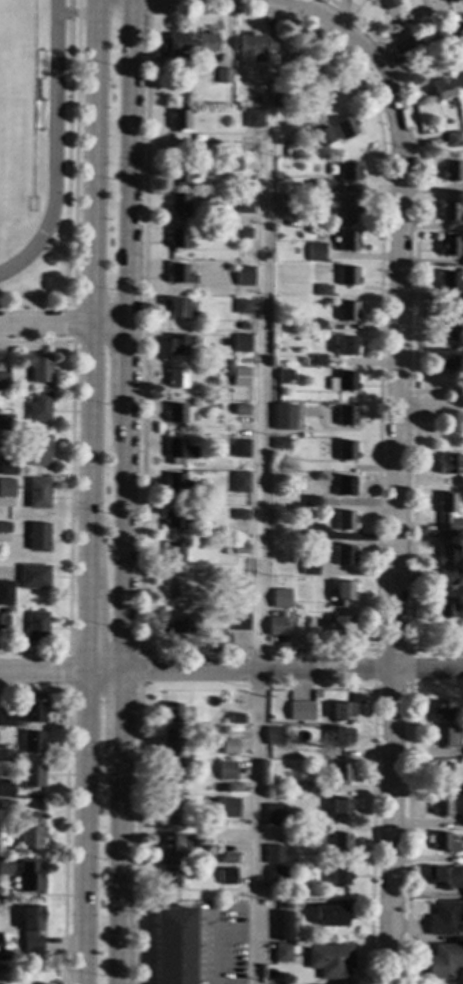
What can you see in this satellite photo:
road: (147, 4)
building: (387, 4)
road: (66, 12)
road: (389, 35)
building: (206, 42)
building: (171, 44)
building: (253, 46)
road: (336, 53)
road: (387, 56)
road: (366, 57)
building: (300, 67)
building: (223, 75)
building: (443, 89)
building: (261, 99)
building: (274, 100)
park: (15, 112)
building: (258, 118)
building: (179, 120)
building: (345, 127)
building: (323, 136)
building: (453, 139)
track: (52, 145)
road: (129, 162)
building: (232, 165)
building: (451, 170)
building: (348, 172)
building: (178, 173)
building: (322, 186)
road: (73, 187)
building: (289, 199)
building: (243, 203)
building: (178, 204)
building: (349, 205)
building: (451, 213)
road: (415, 219)
building: (239, 232)
building: (177, 238)
building: (348, 241)
building: (448, 246)
building: (315, 252)
building: (178, 274)
building: (243, 275)
building: (348, 275)
building: (448, 282)
building: (322, 290)
building: (241, 306)
building: (177, 308)
building: (347, 311)
road: (71, 322)
building: (455, 322)
road: (62, 324)
building: (317, 324)
building: (242, 326)
building: (240, 343)
building: (177, 344)
building: (346, 345)
building: (444, 358)
building: (317, 360)
building: (229, 361)
road: (125, 362)
building: (37, 366)
building: (228, 369)
building: (240, 376)
building: (283, 376)
building: (176, 378)
building: (4, 381)
building: (342, 382)
building: (38, 406)
building: (214, 406)
road: (412, 408)
road: (429, 408)
building: (239, 409)
building: (174, 413)
building: (346, 416)
building: (283, 419)
building: (6, 421)
building: (279, 443)
building: (239, 448)
building: (178, 449)
building: (38, 450)
building: (345, 450)
building: (239, 463)
building: (450, 464)
building: (7, 466)
building: (238, 482)
building: (178, 484)
building: (344, 486)
building: (6, 488)
road: (90, 492)
building: (38, 493)
road: (68, 493)
road: (261, 495)
building: (310, 501)
building: (446, 512)
building: (238, 514)
building: (172, 518)
building: (344, 520)
road: (395, 522)
building: (299, 526)
building: (4, 527)
road: (122, 534)
building: (310, 535)
building: (37, 536)
road: (410, 539)
building: (237, 549)
building: (172, 553)
building: (343, 555)
building: (237, 563)
building: (446, 564)
building: (319, 570)
building: (32, 576)
building: (234, 587)
building: (172, 588)
building: (342, 592)
building: (5, 593)
building: (279, 598)
building: (443, 607)
building: (3, 621)
building: (237, 621)
building: (173, 623)
building: (316, 623)
building: (340, 625)
building: (36, 626)
building: (275, 626)
road: (373, 650)
road: (137, 668)
road: (59, 669)
road: (290, 669)
road: (66, 670)
road: (118, 707)
building: (301, 711)
building: (341, 711)
building: (441, 711)
building: (170, 712)
building: (23, 713)
building: (235, 718)
building: (17, 724)
building: (273, 736)
building: (340, 737)
building: (441, 737)
building: (31, 742)
building: (169, 742)
building: (228, 746)
building: (7, 756)
building: (225, 770)
building: (169, 772)
building: (441, 772)
building: (340, 773)
building: (31, 776)
building: (233, 787)
building: (308, 787)
building: (6, 788)
building: (296, 788)
road: (64, 803)
building: (340, 806)
building: (441, 806)
building: (227, 807)
building: (6, 808)
building: (169, 810)
building: (273, 815)
building: (462, 821)
building: (30, 830)
road: (135, 835)
road: (370, 835)
road: (406, 835)
building: (168, 842)
building: (338, 842)
building: (442, 843)
building: (273, 854)
building: (227, 858)
road: (116, 865)
building: (5, 866)
building: (276, 871)
building: (226, 876)
building: (338, 876)
building: (29, 877)
building: (167, 877)
building: (443, 877)
building: (330, 914)
building: (445, 918)
building: (284, 926)
building: (31, 928)
parking lot: (217, 942)
building: (172, 945)
road: (210, 946)
building: (281, 953)
building: (14, 956)
building: (329, 960)
building: (444, 961)

